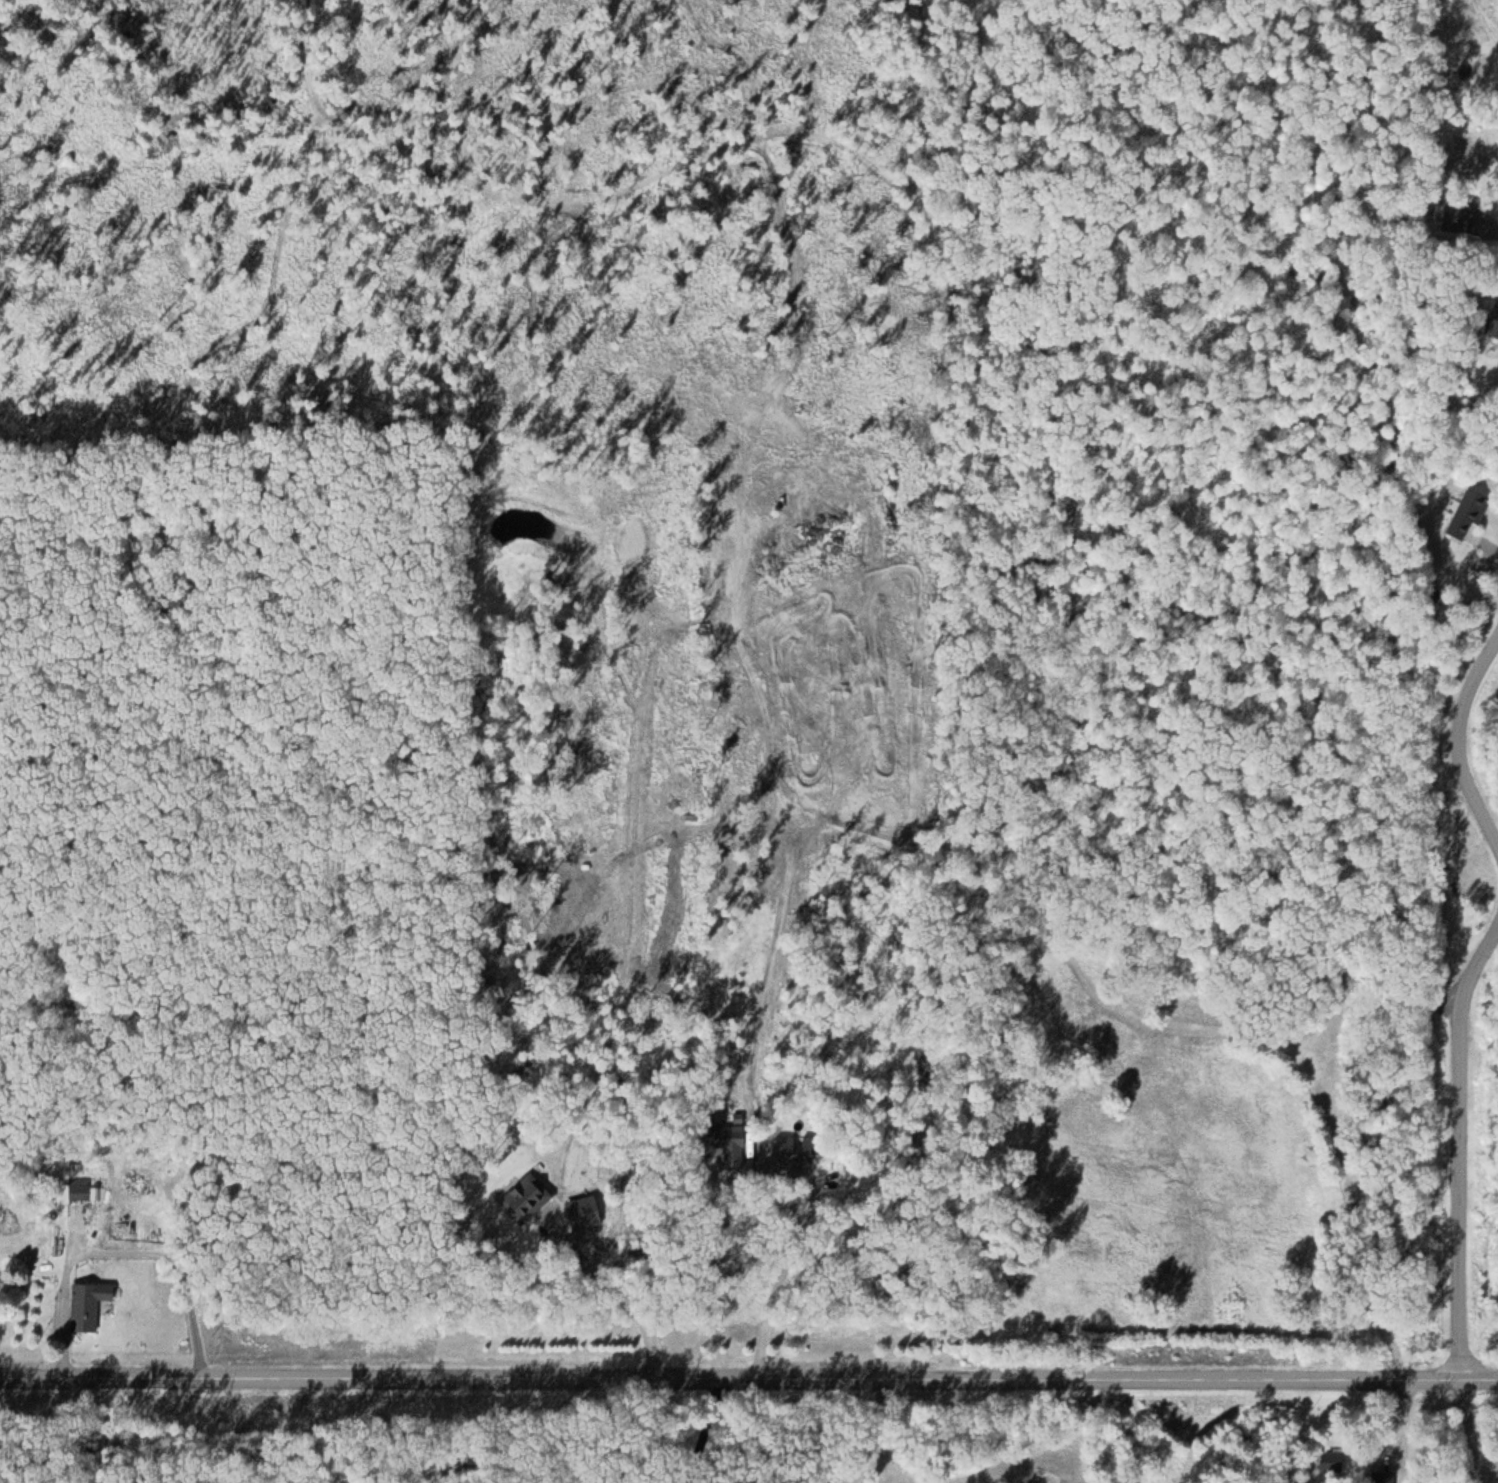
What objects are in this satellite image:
building: (1495, 319)
building: (1472, 515)
road: (1474, 548)
road: (1454, 743)
building: (734, 1148)
road: (1459, 1151)
building: (802, 1157)
building: (89, 1191)
building: (528, 1199)
building: (89, 1306)
road: (749, 1371)

